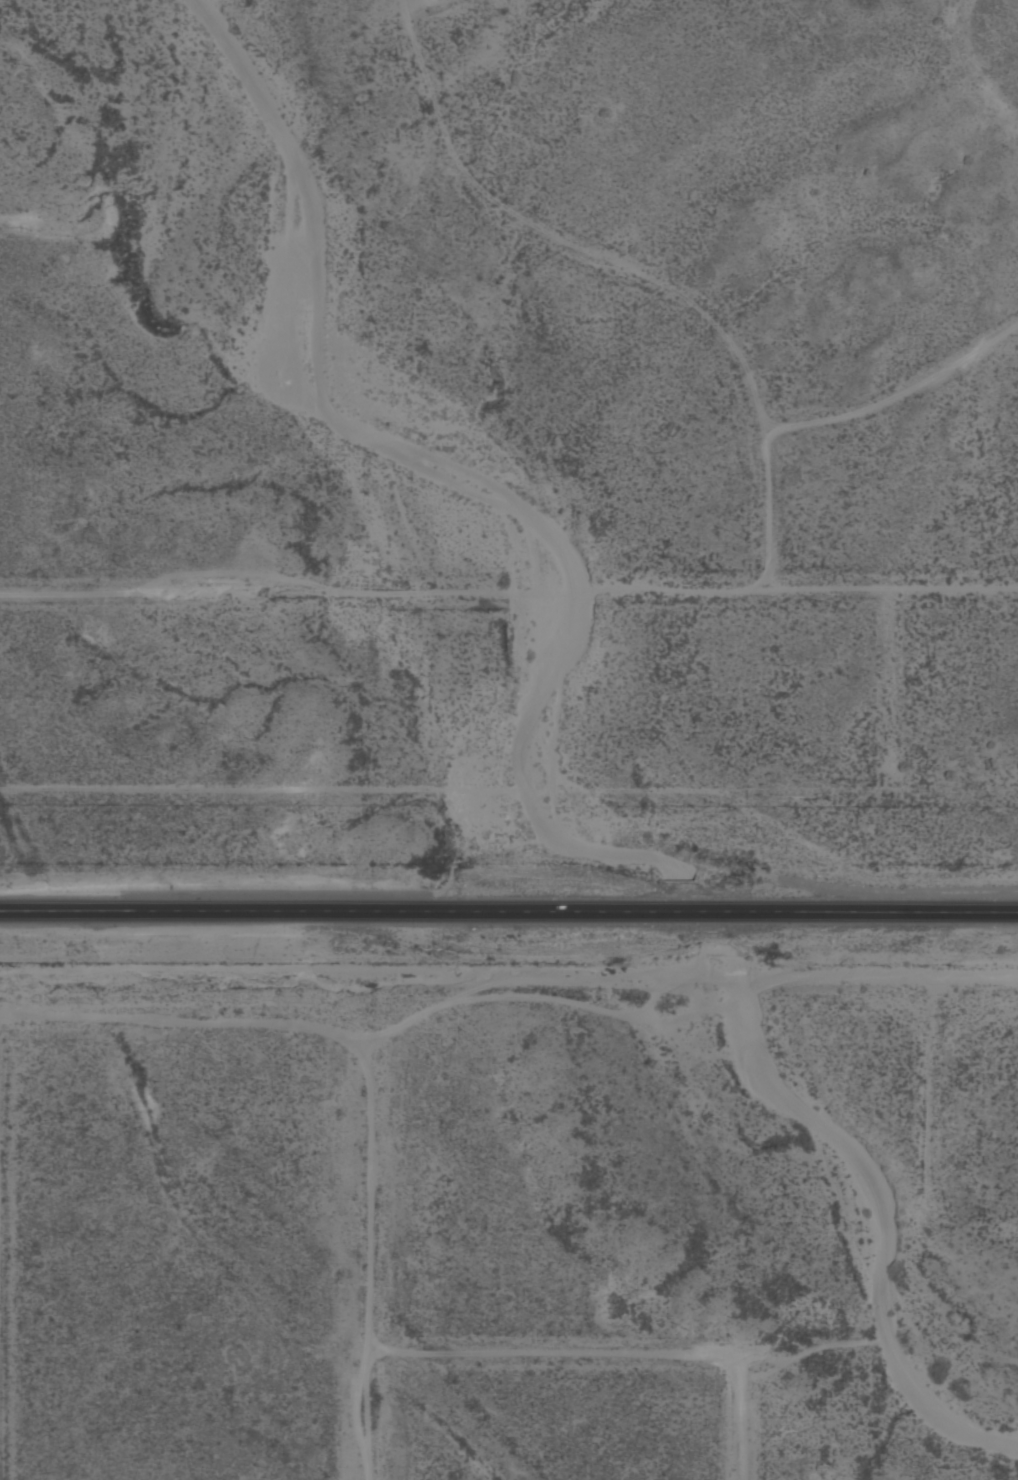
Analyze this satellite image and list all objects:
road: (413, 2)
road: (2, 226)
road: (629, 273)
road: (896, 394)
road: (740, 590)
road: (231, 592)
road: (509, 899)
road: (536, 999)
road: (333, 1030)
road: (2, 1248)
road: (563, 1349)
road: (740, 1425)

